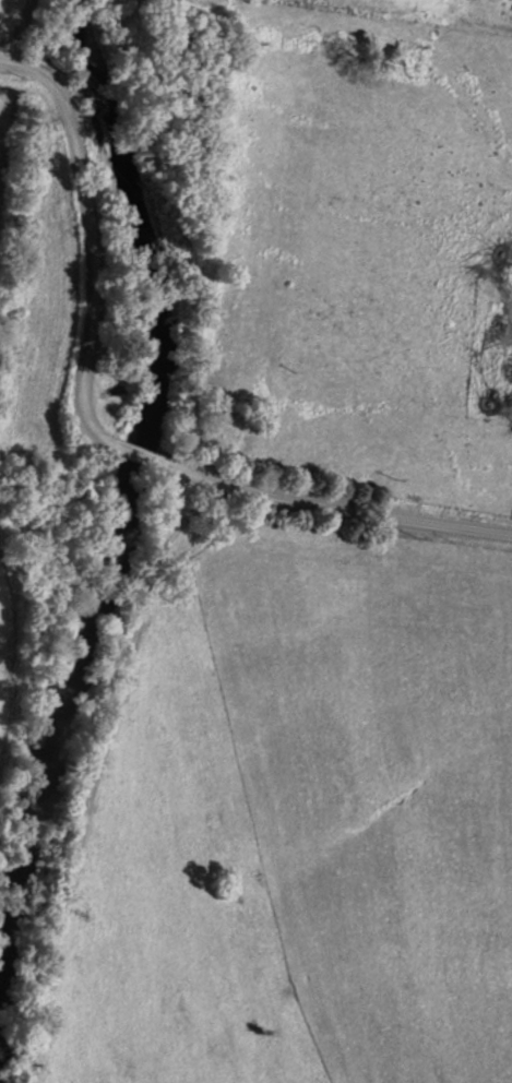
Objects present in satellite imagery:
road: (129, 491)

